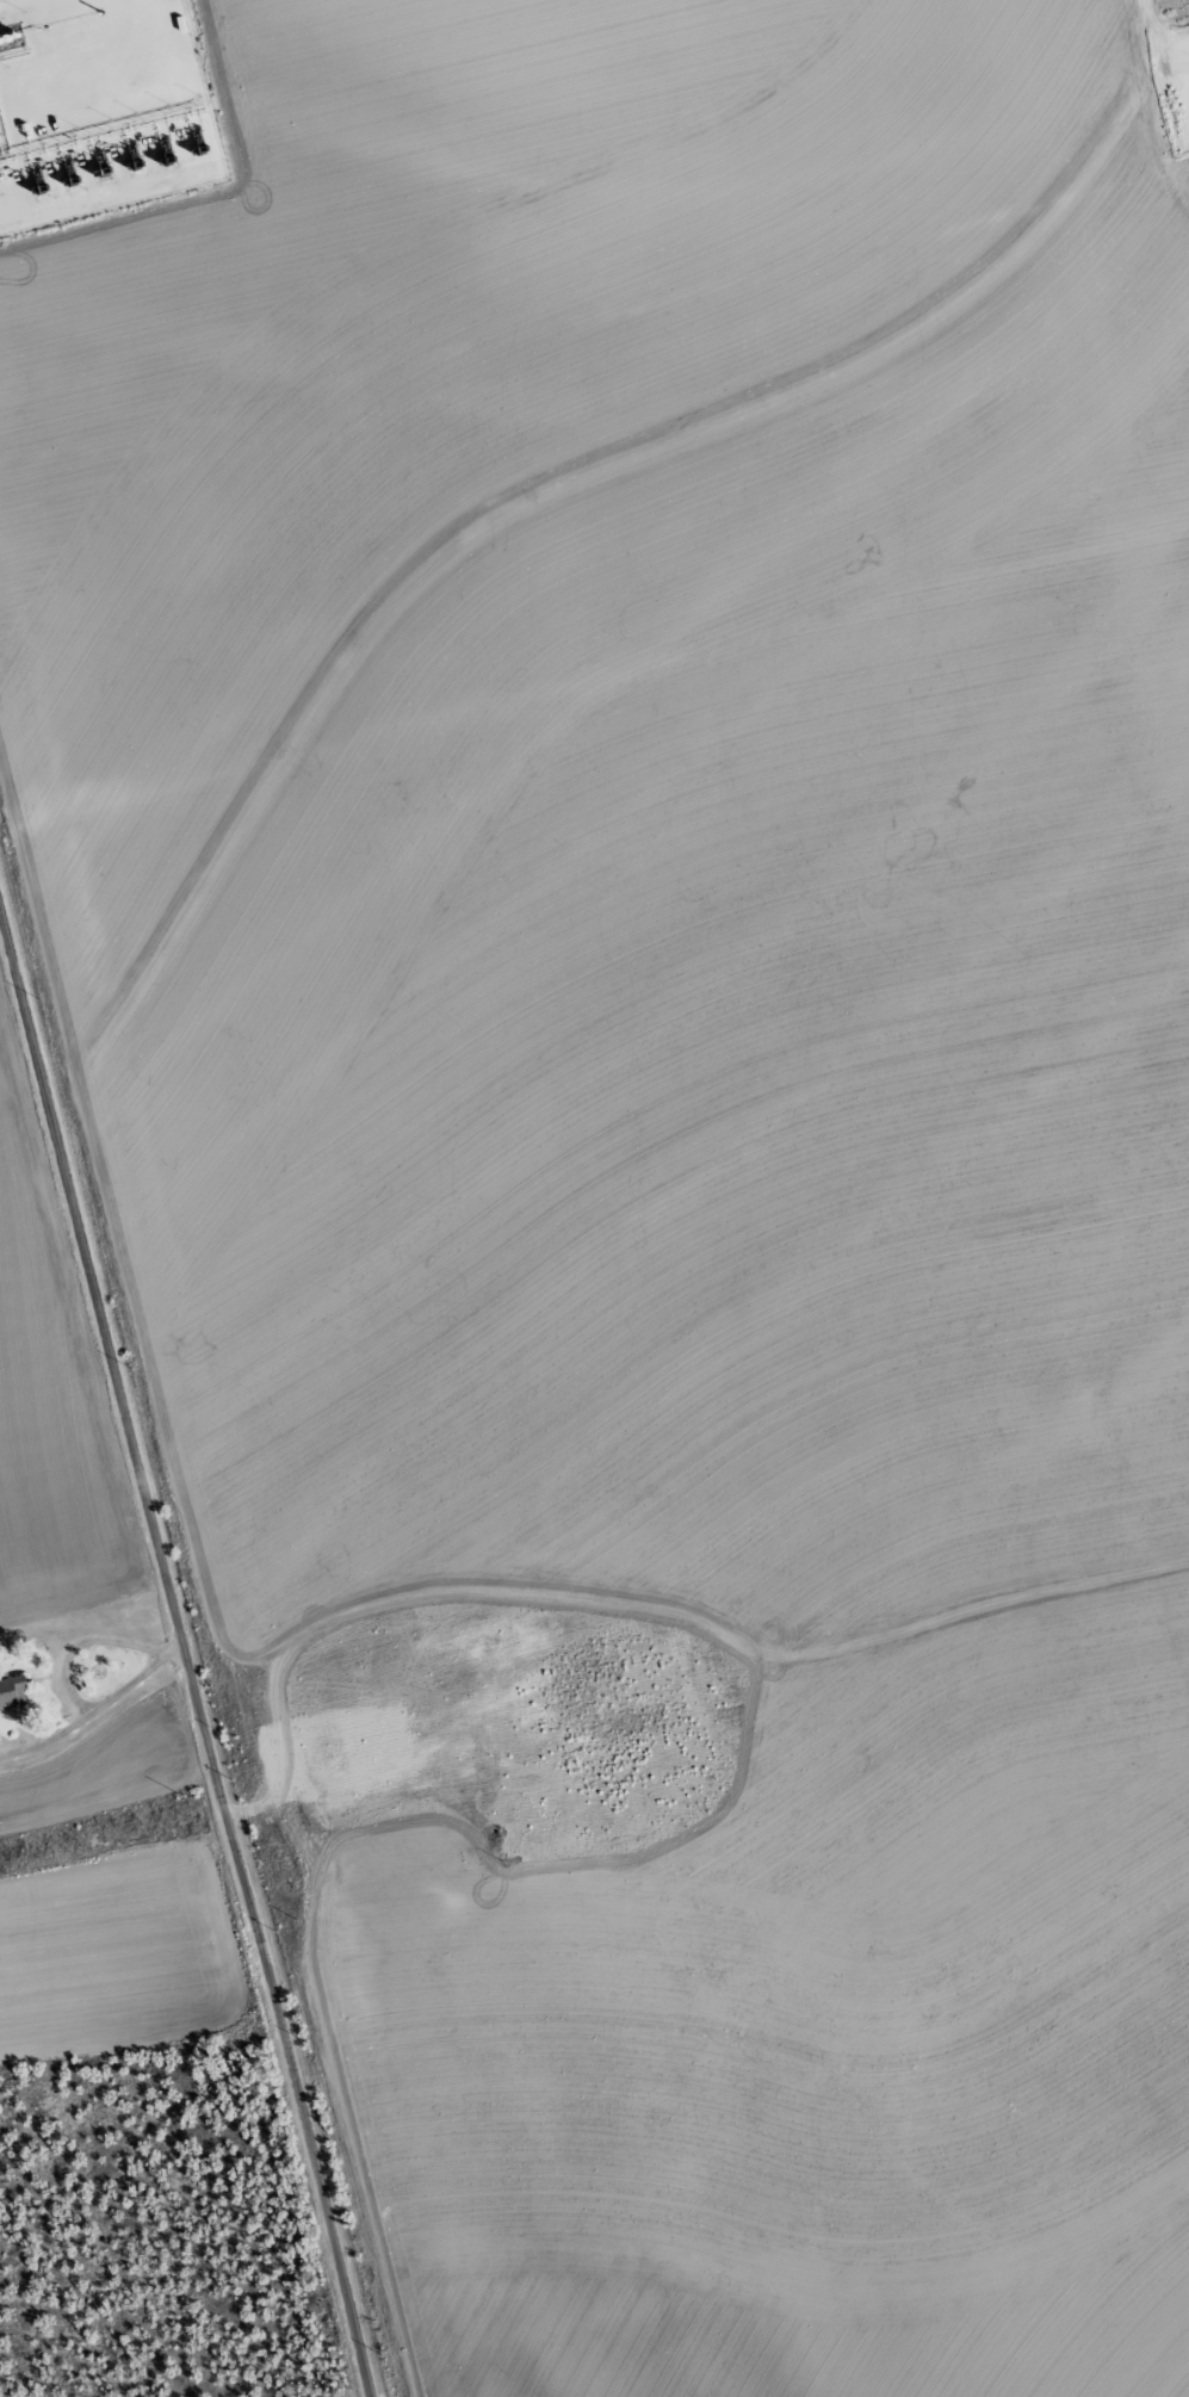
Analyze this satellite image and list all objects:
road: (112, 1364)
building: (12, 1691)
building: (369, 1733)
road: (296, 2110)

